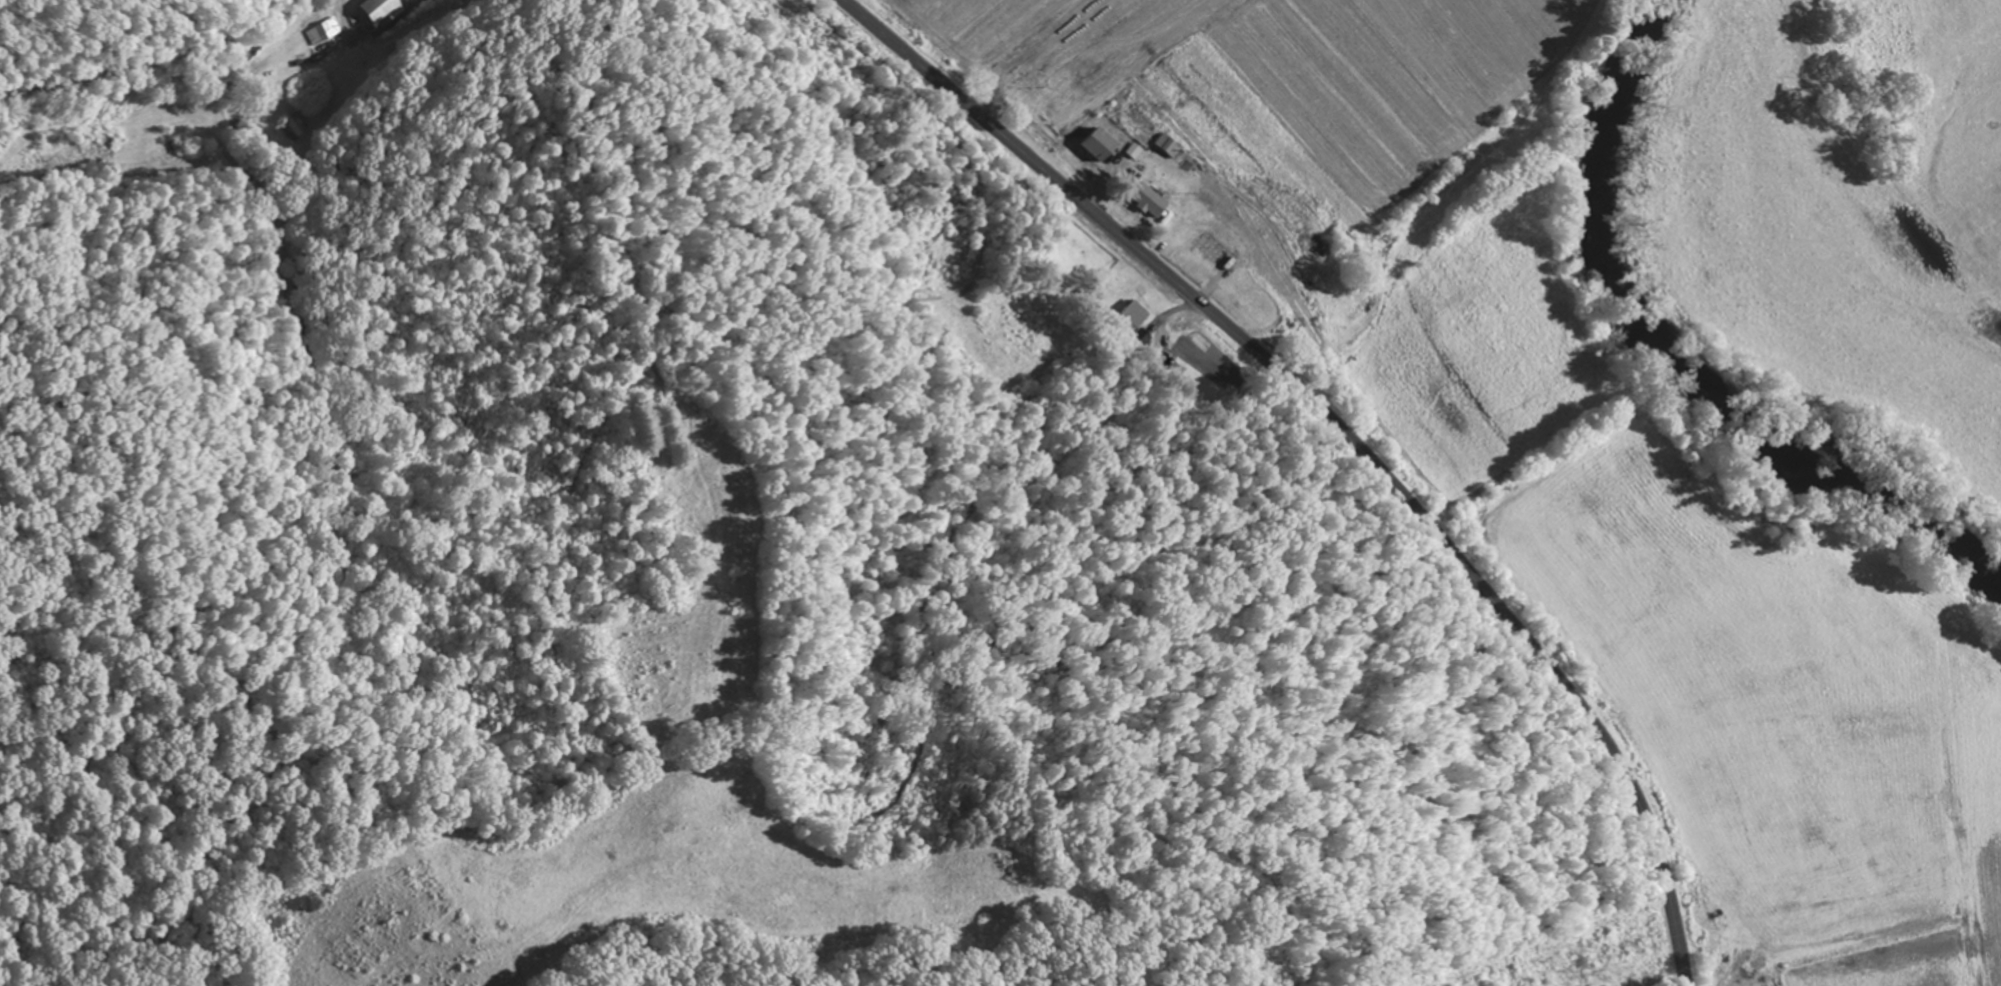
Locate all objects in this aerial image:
building: (377, 10)
building: (321, 34)
road: (506, 78)
building: (289, 127)
building: (1101, 148)
building: (1169, 148)
building: (1148, 202)
building: (1217, 255)
building: (1128, 320)
building: (1284, 326)
river: (1673, 365)
road: (1347, 434)

